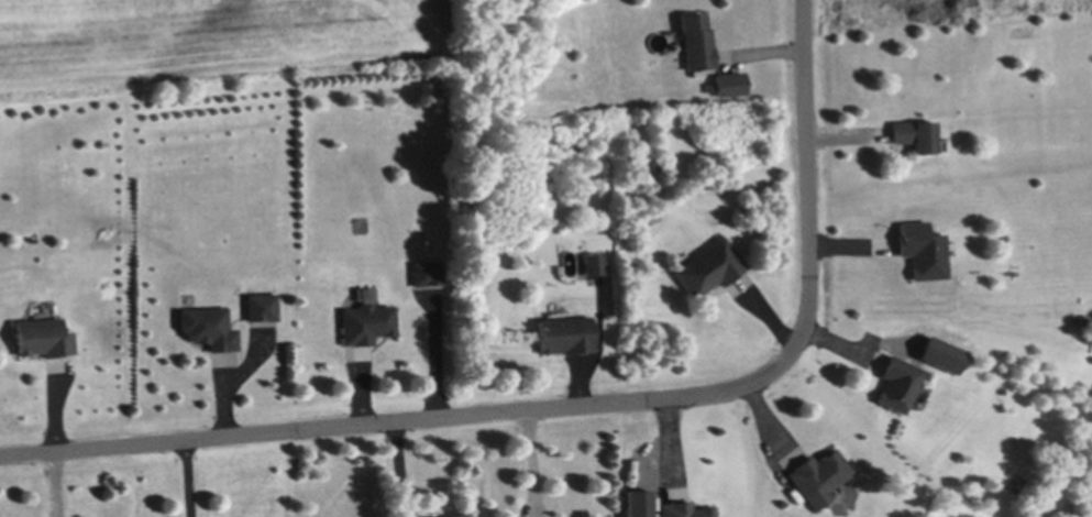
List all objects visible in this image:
building: (698, 40)
crop: (211, 41)
building: (726, 84)
building: (916, 132)
building: (487, 182)
building: (924, 249)
building: (595, 263)
building: (710, 266)
building: (429, 269)
building: (262, 305)
building: (365, 321)
building: (209, 326)
building: (566, 333)
building: (46, 335)
building: (937, 354)
road: (435, 355)
building: (930, 365)
building: (898, 380)
road: (576, 403)
road: (400, 468)
building: (820, 473)
road: (195, 477)
road: (56, 483)
building: (633, 503)
building: (686, 508)

